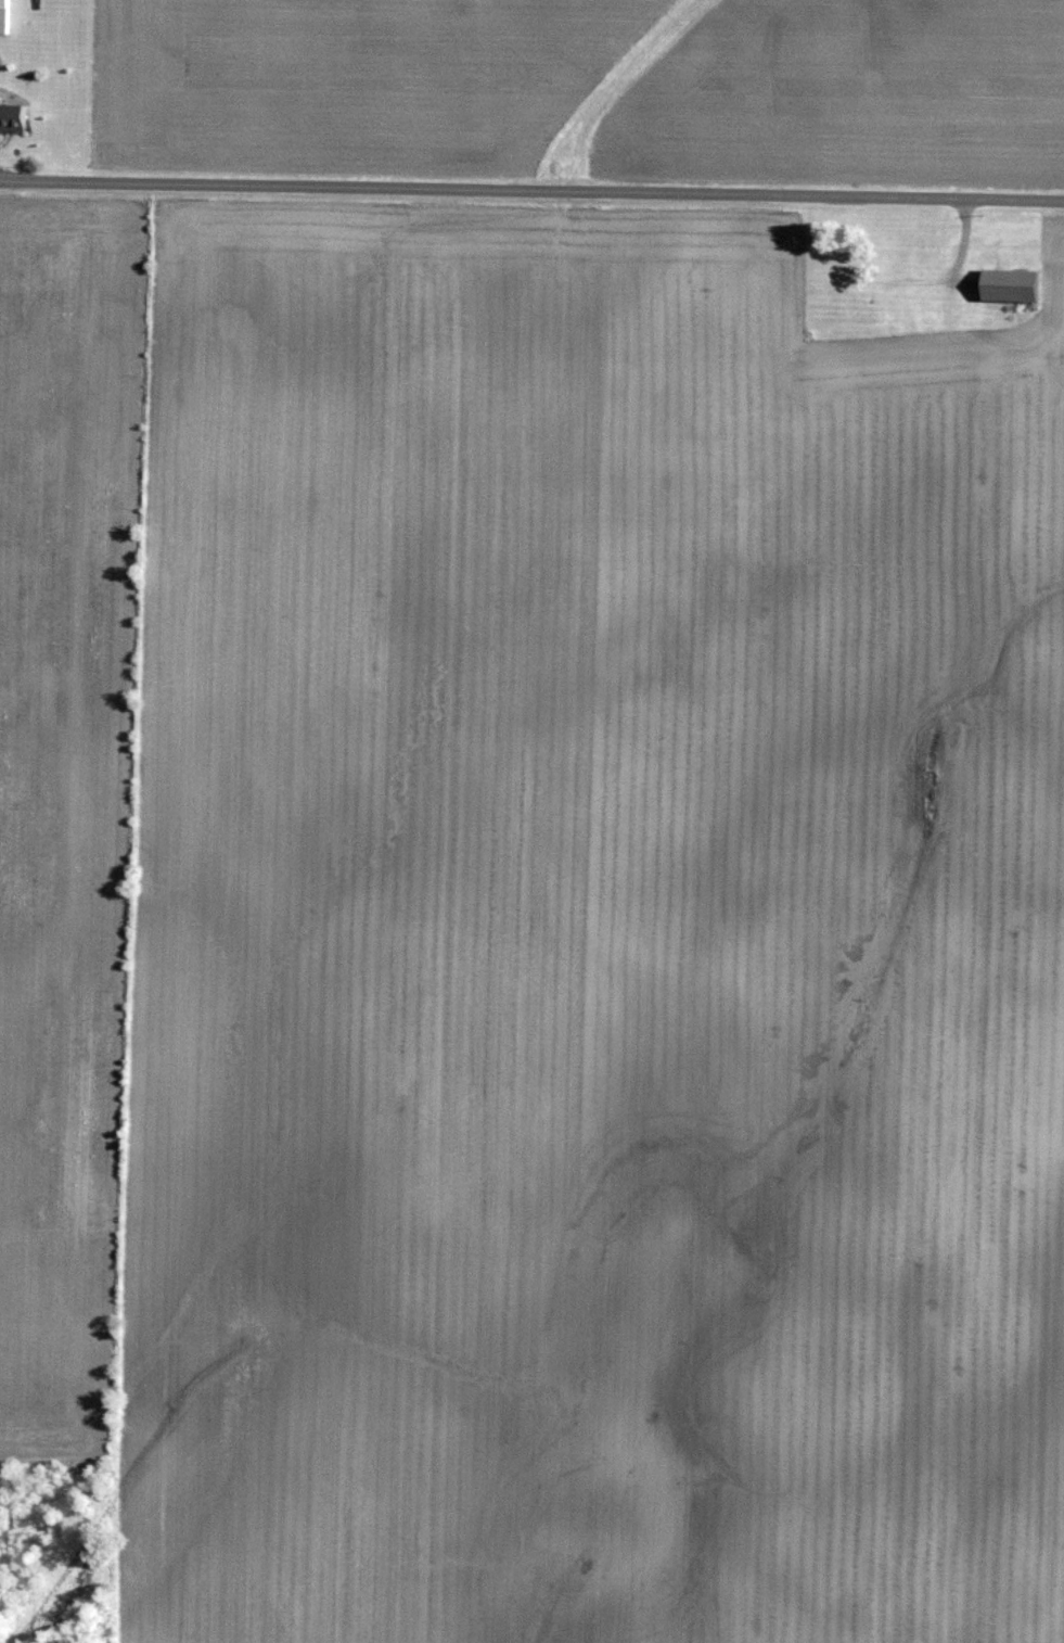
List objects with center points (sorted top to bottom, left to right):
building: (8, 15)
road: (531, 192)

